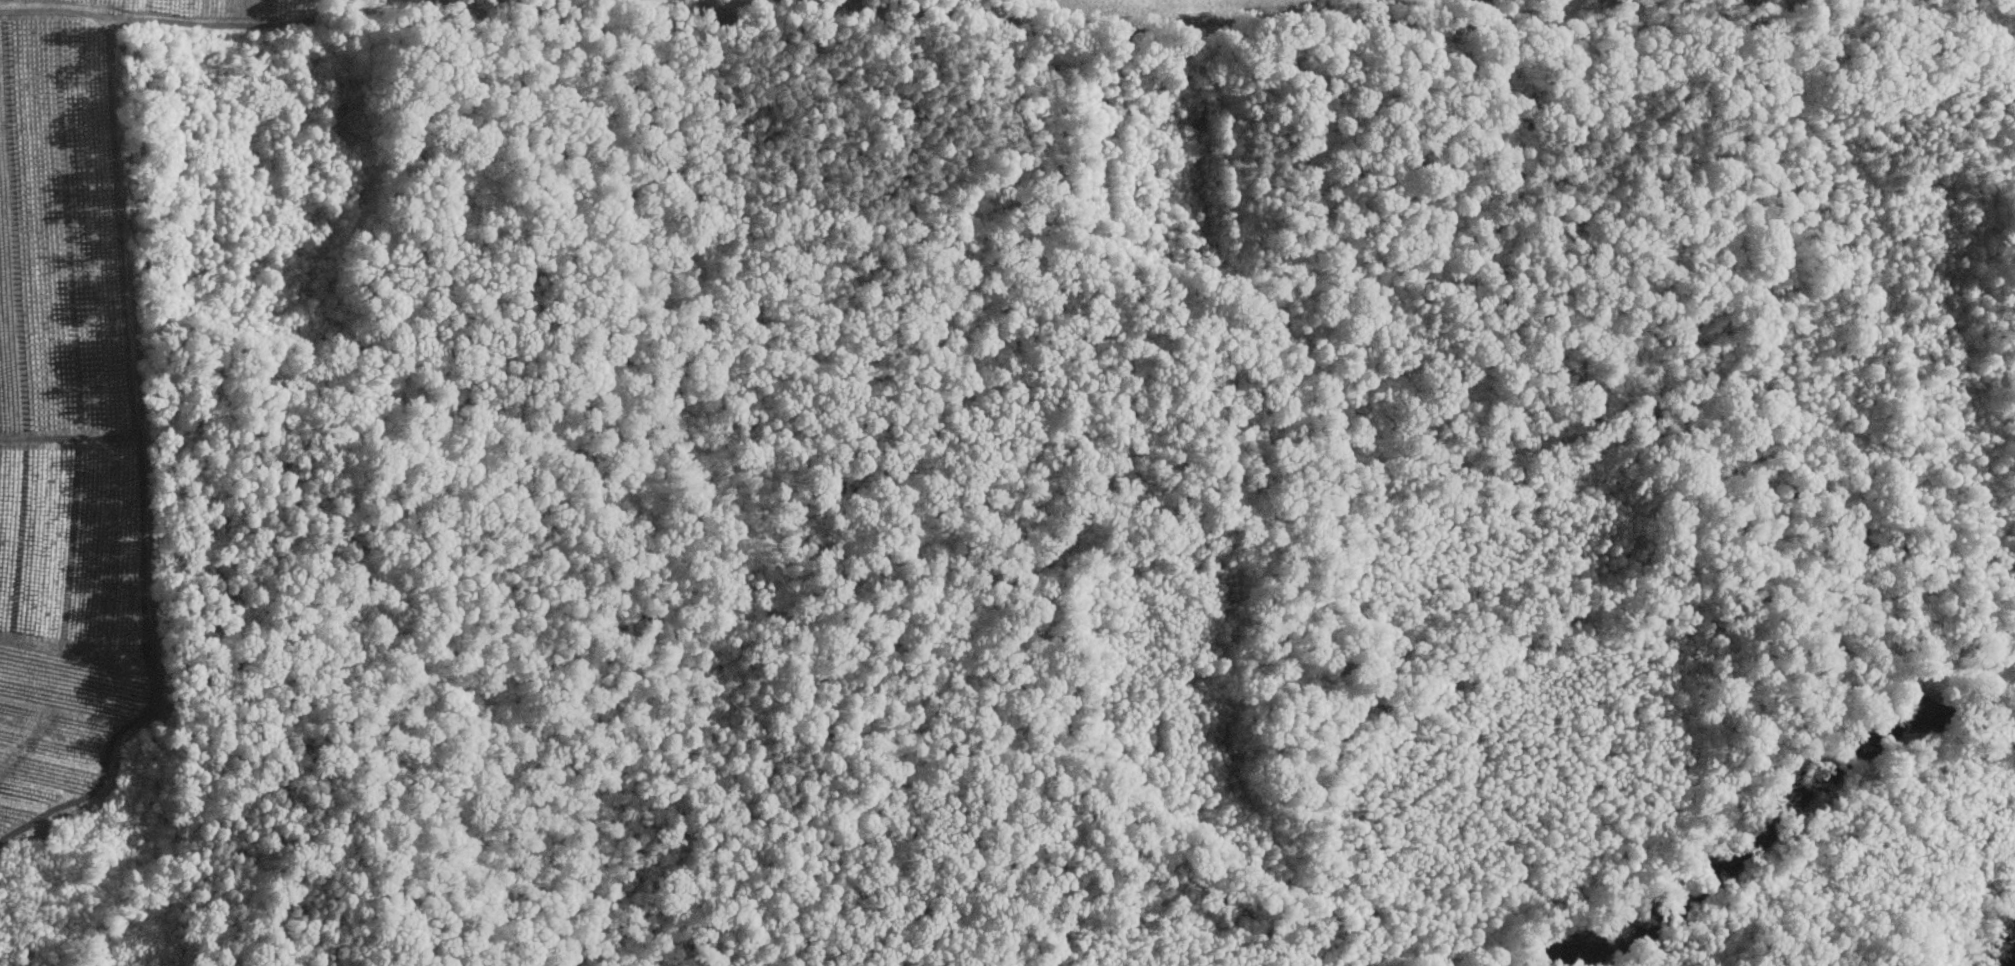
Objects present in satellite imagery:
road: (463, 95)
park: (952, 510)
road: (1104, 537)
road: (1348, 930)
river: (2005, 942)
road: (1206, 950)
road: (1329, 956)

